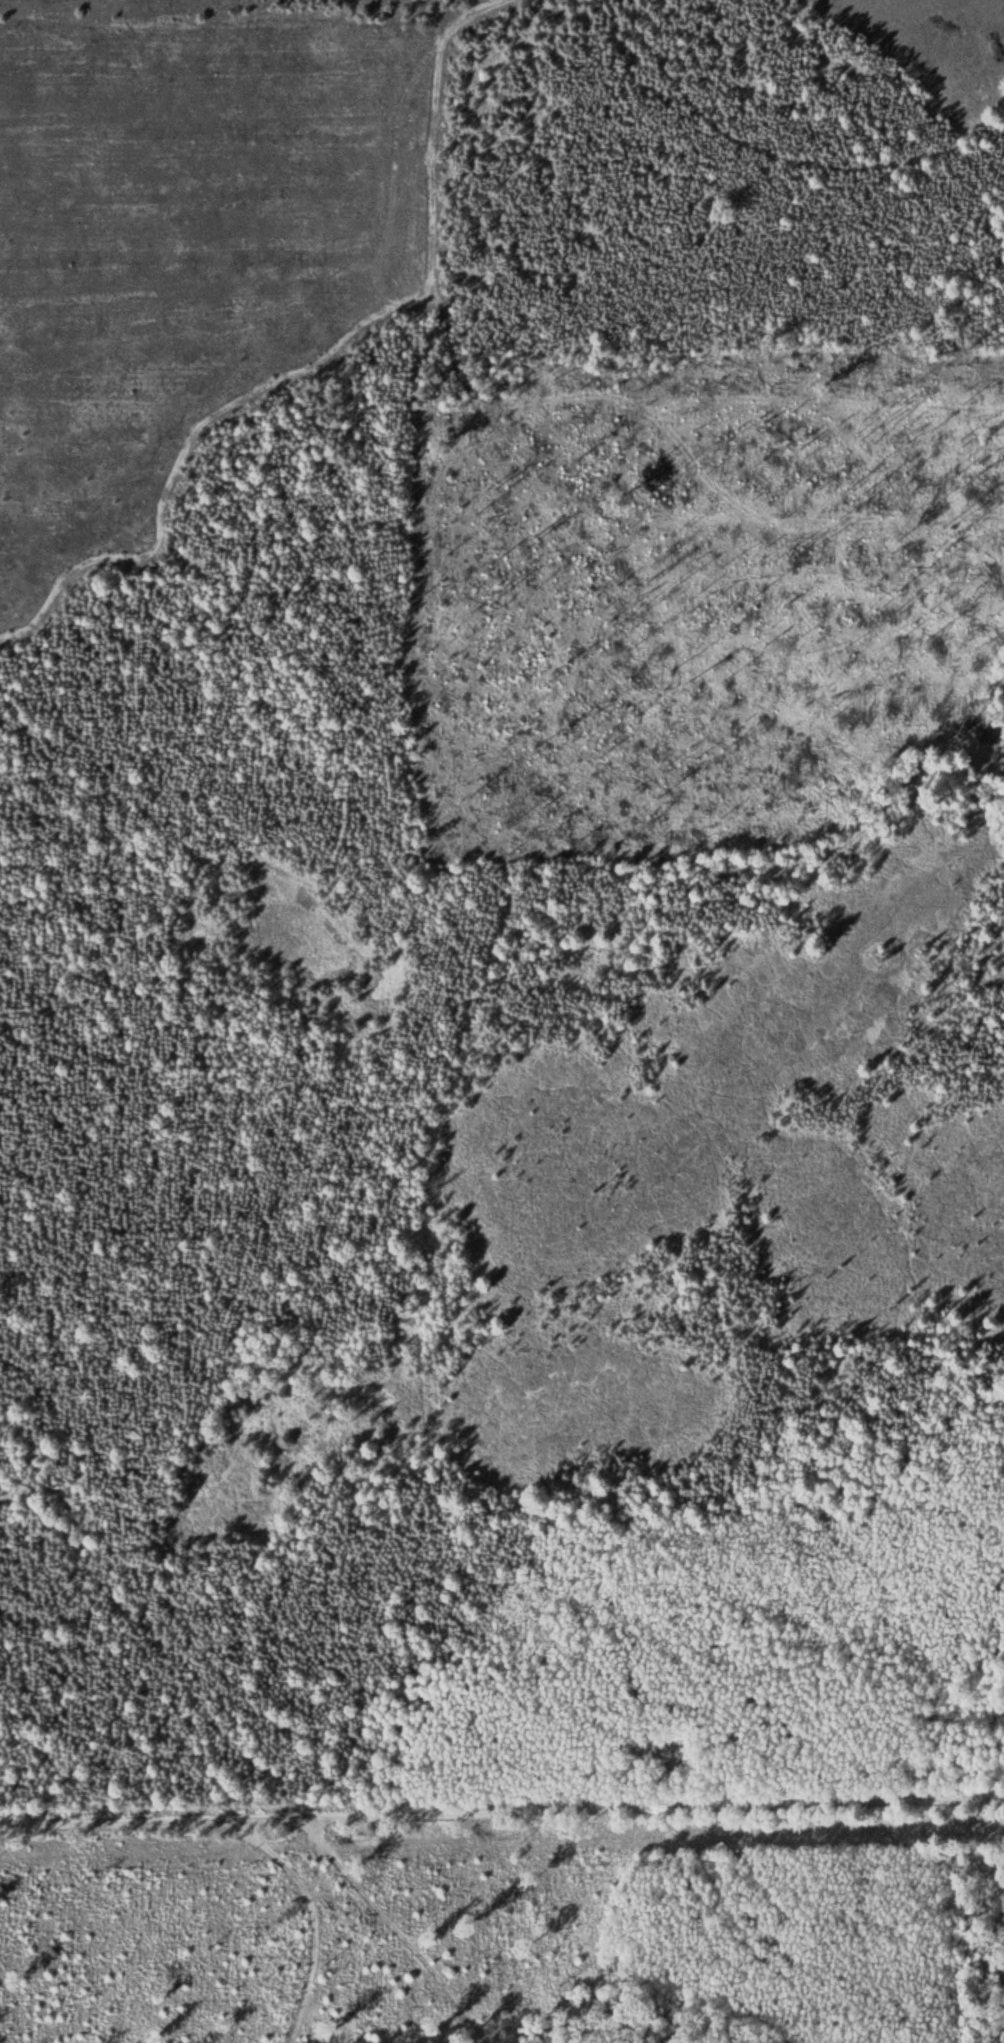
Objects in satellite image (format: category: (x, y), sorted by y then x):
road: (395, 0)
road: (139, 21)
road: (340, 365)
road: (501, 1808)
road: (308, 1915)
road: (395, 1929)

